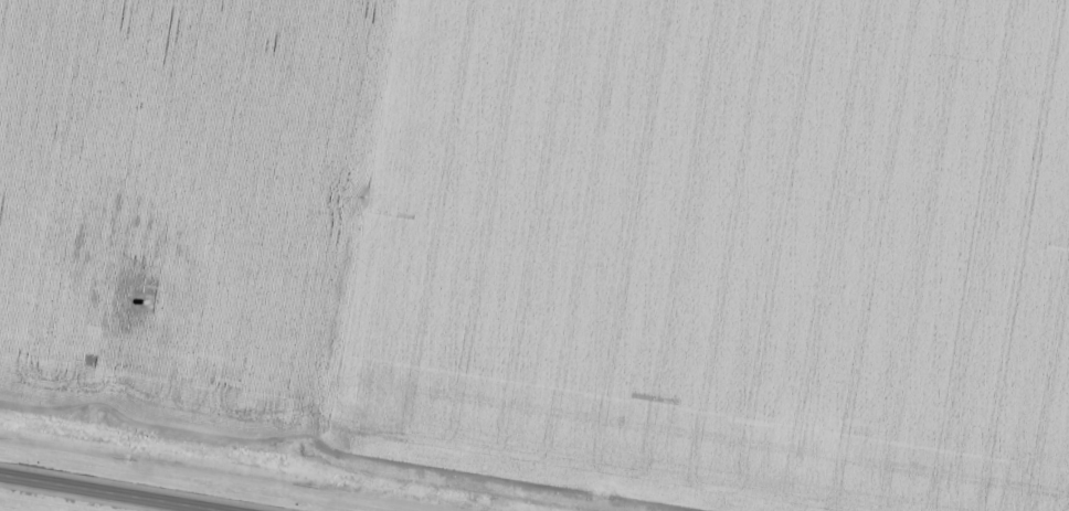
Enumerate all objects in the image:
building: (1022, 19)
building: (1008, 117)
road: (114, 492)
road: (213, 510)

